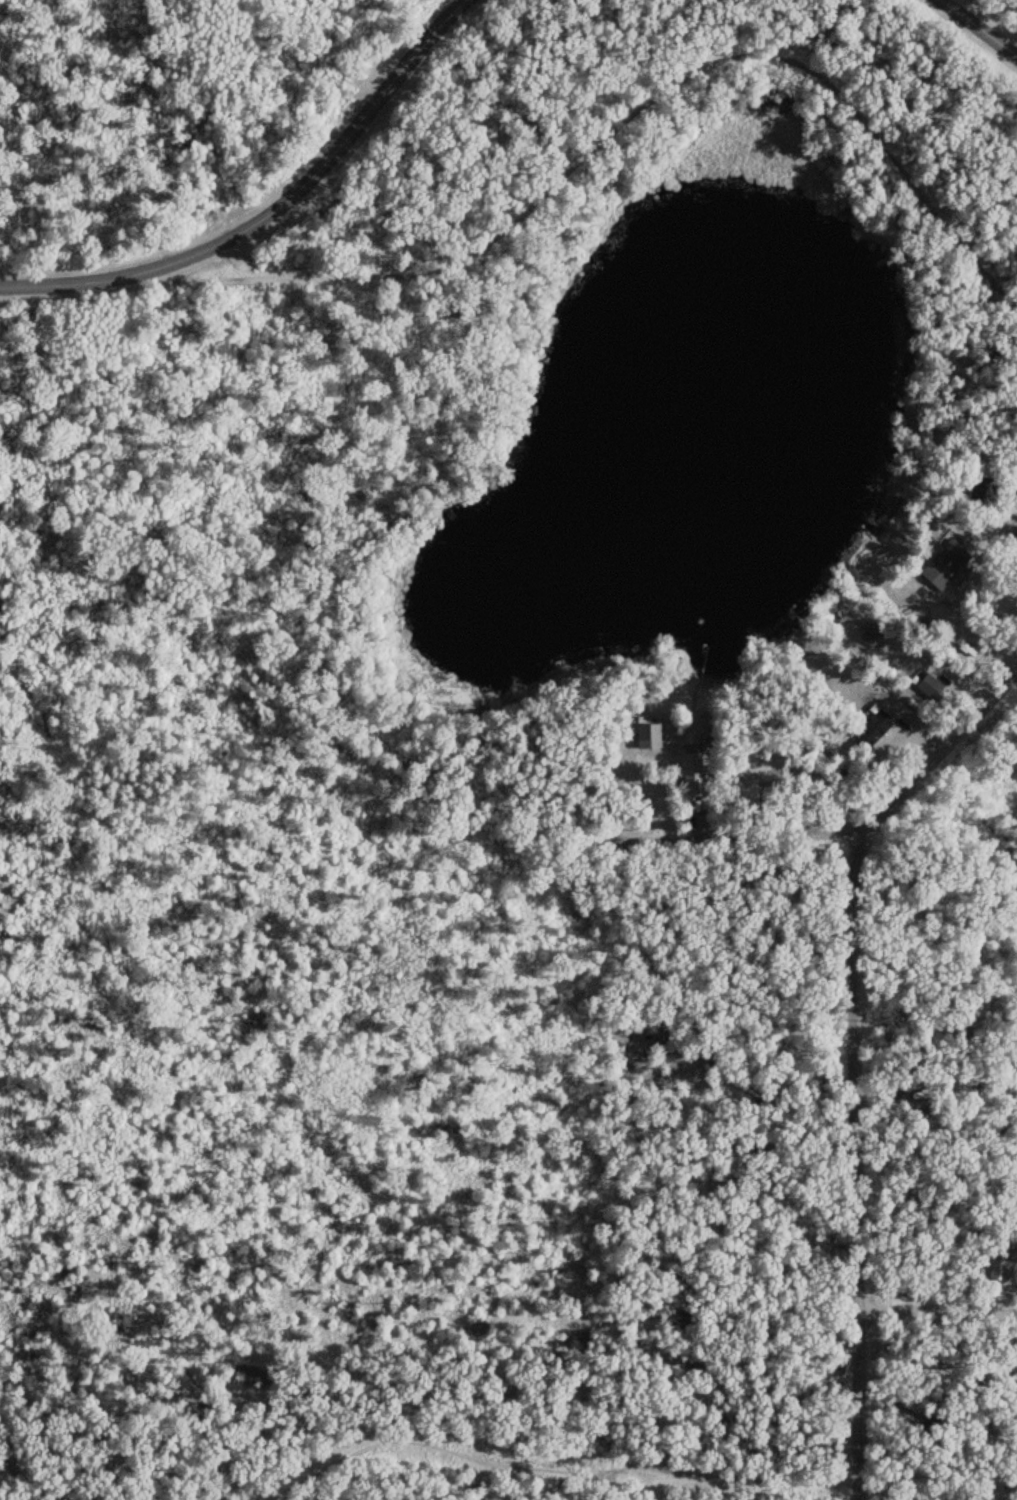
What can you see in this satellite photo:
road: (983, 25)
road: (269, 206)
building: (947, 564)
road: (438, 814)
road: (840, 1054)
road: (935, 1312)
road: (363, 1325)

